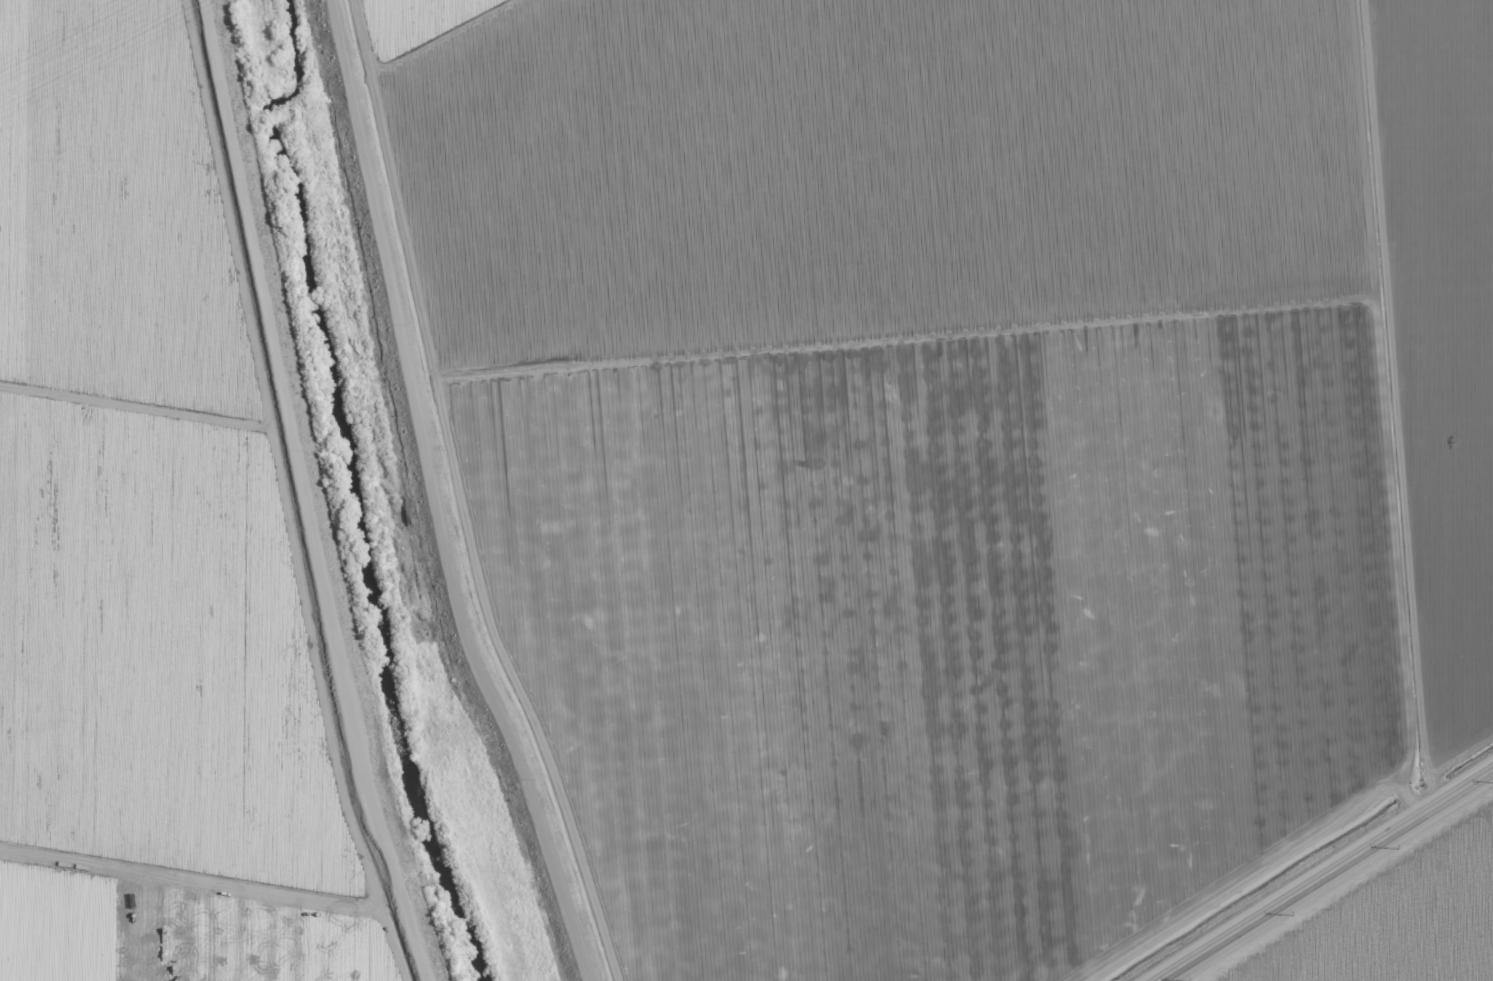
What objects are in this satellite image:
crop: (943, 452)
crop: (165, 543)
road: (1325, 874)
crop: (1392, 918)

